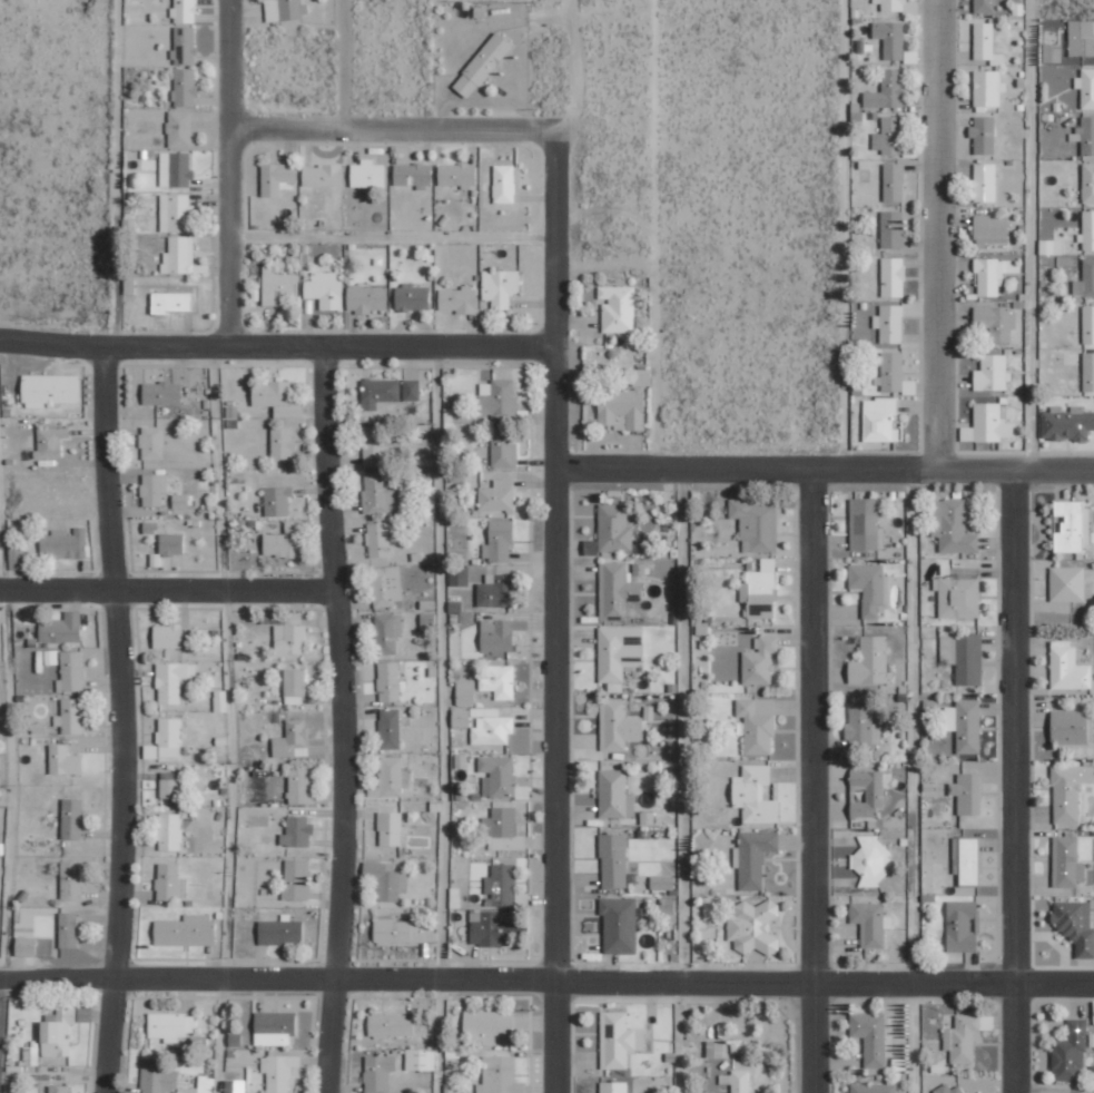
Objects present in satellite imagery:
building: (895, 4)
building: (984, 6)
building: (284, 9)
building: (184, 11)
building: (890, 38)
building: (1081, 38)
building: (986, 43)
building: (185, 46)
building: (1052, 52)
road: (344, 63)
building: (482, 65)
building: (185, 87)
building: (1086, 87)
building: (987, 89)
building: (887, 91)
building: (179, 128)
road: (390, 128)
building: (984, 135)
building: (1085, 135)
building: (889, 136)
building: (175, 169)
building: (414, 171)
road: (118, 173)
road: (227, 173)
building: (367, 174)
building: (457, 174)
building: (322, 175)
building: (277, 177)
building: (984, 181)
building: (894, 183)
building: (1087, 183)
building: (503, 184)
building: (174, 213)
building: (893, 229)
building: (990, 230)
building: (1087, 230)
road: (392, 233)
road: (937, 235)
road: (1031, 235)
building: (1051, 246)
building: (178, 255)
building: (893, 277)
building: (988, 277)
building: (1085, 279)
building: (276, 284)
building: (500, 287)
building: (325, 289)
building: (412, 297)
building: (367, 298)
building: (457, 299)
building: (174, 301)
building: (618, 308)
building: (996, 322)
building: (889, 323)
building: (1088, 324)
road: (278, 345)
building: (1088, 371)
building: (890, 372)
building: (992, 373)
building: (642, 377)
building: (50, 390)
building: (411, 390)
building: (380, 391)
building: (161, 393)
building: (494, 394)
building: (277, 398)
building: (622, 407)
building: (880, 420)
building: (1066, 423)
building: (988, 424)
building: (50, 442)
building: (151, 442)
building: (282, 443)
building: (376, 445)
building: (502, 447)
road: (331, 466)
road: (825, 471)
building: (154, 489)
building: (377, 494)
building: (497, 495)
building: (277, 500)
building: (183, 501)
building: (864, 524)
building: (756, 525)
building: (952, 526)
building: (149, 528)
building: (614, 528)
building: (378, 540)
building: (282, 541)
building: (499, 541)
building: (63, 543)
building: (171, 544)
building: (14, 558)
building: (1067, 583)
building: (386, 585)
building: (870, 588)
building: (619, 589)
road: (225, 590)
building: (760, 590)
road: (57, 591)
building: (496, 591)
building: (958, 592)
road: (555, 610)
building: (49, 631)
building: (387, 633)
building: (500, 633)
building: (167, 637)
building: (289, 640)
building: (619, 653)
building: (964, 657)
building: (760, 661)
building: (870, 661)
building: (1068, 669)
building: (71, 672)
building: (170, 681)
building: (499, 681)
building: (390, 682)
building: (295, 686)
building: (465, 692)
building: (70, 716)
building: (461, 717)
road: (114, 718)
road: (230, 719)
road: (437, 719)
building: (758, 725)
building: (861, 725)
building: (619, 726)
building: (965, 726)
building: (1072, 727)
building: (390, 729)
building: (168, 737)
building: (293, 740)
building: (63, 760)
building: (461, 761)
building: (499, 775)
building: (391, 778)
road: (680, 781)
road: (814, 781)
road: (913, 781)
road: (1013, 781)
building: (169, 785)
building: (300, 787)
building: (1070, 790)
building: (869, 792)
building: (967, 794)
building: (614, 795)
building: (755, 795)
road: (9, 797)
building: (71, 818)
building: (390, 829)
building: (502, 829)
building: (169, 831)
building: (297, 831)
road: (342, 840)
building: (753, 858)
building: (613, 860)
building: (966, 860)
building: (870, 861)
building: (1066, 863)
building: (296, 879)
building: (70, 880)
building: (386, 880)
building: (169, 883)
building: (662, 883)
building: (501, 886)
building: (668, 906)
building: (711, 908)
building: (870, 923)
building: (619, 925)
building: (1075, 925)
building: (963, 926)
building: (753, 927)
building: (68, 929)
building: (486, 929)
building: (185, 932)
building: (280, 932)
building: (403, 933)
building: (24, 946)
road: (546, 981)
building: (390, 1025)
building: (170, 1026)
building: (487, 1026)
building: (274, 1028)
building: (57, 1033)
building: (870, 1037)
building: (963, 1038)
building: (618, 1040)
building: (714, 1050)
building: (1071, 1052)
building: (420, 1060)
building: (277, 1072)
building: (377, 1073)
building: (500, 1076)
building: (737, 1081)
building: (236, 1086)
building: (613, 1087)
building: (58, 1089)
building: (875, 1089)
building: (953, 1090)
road: (1055, 1090)

